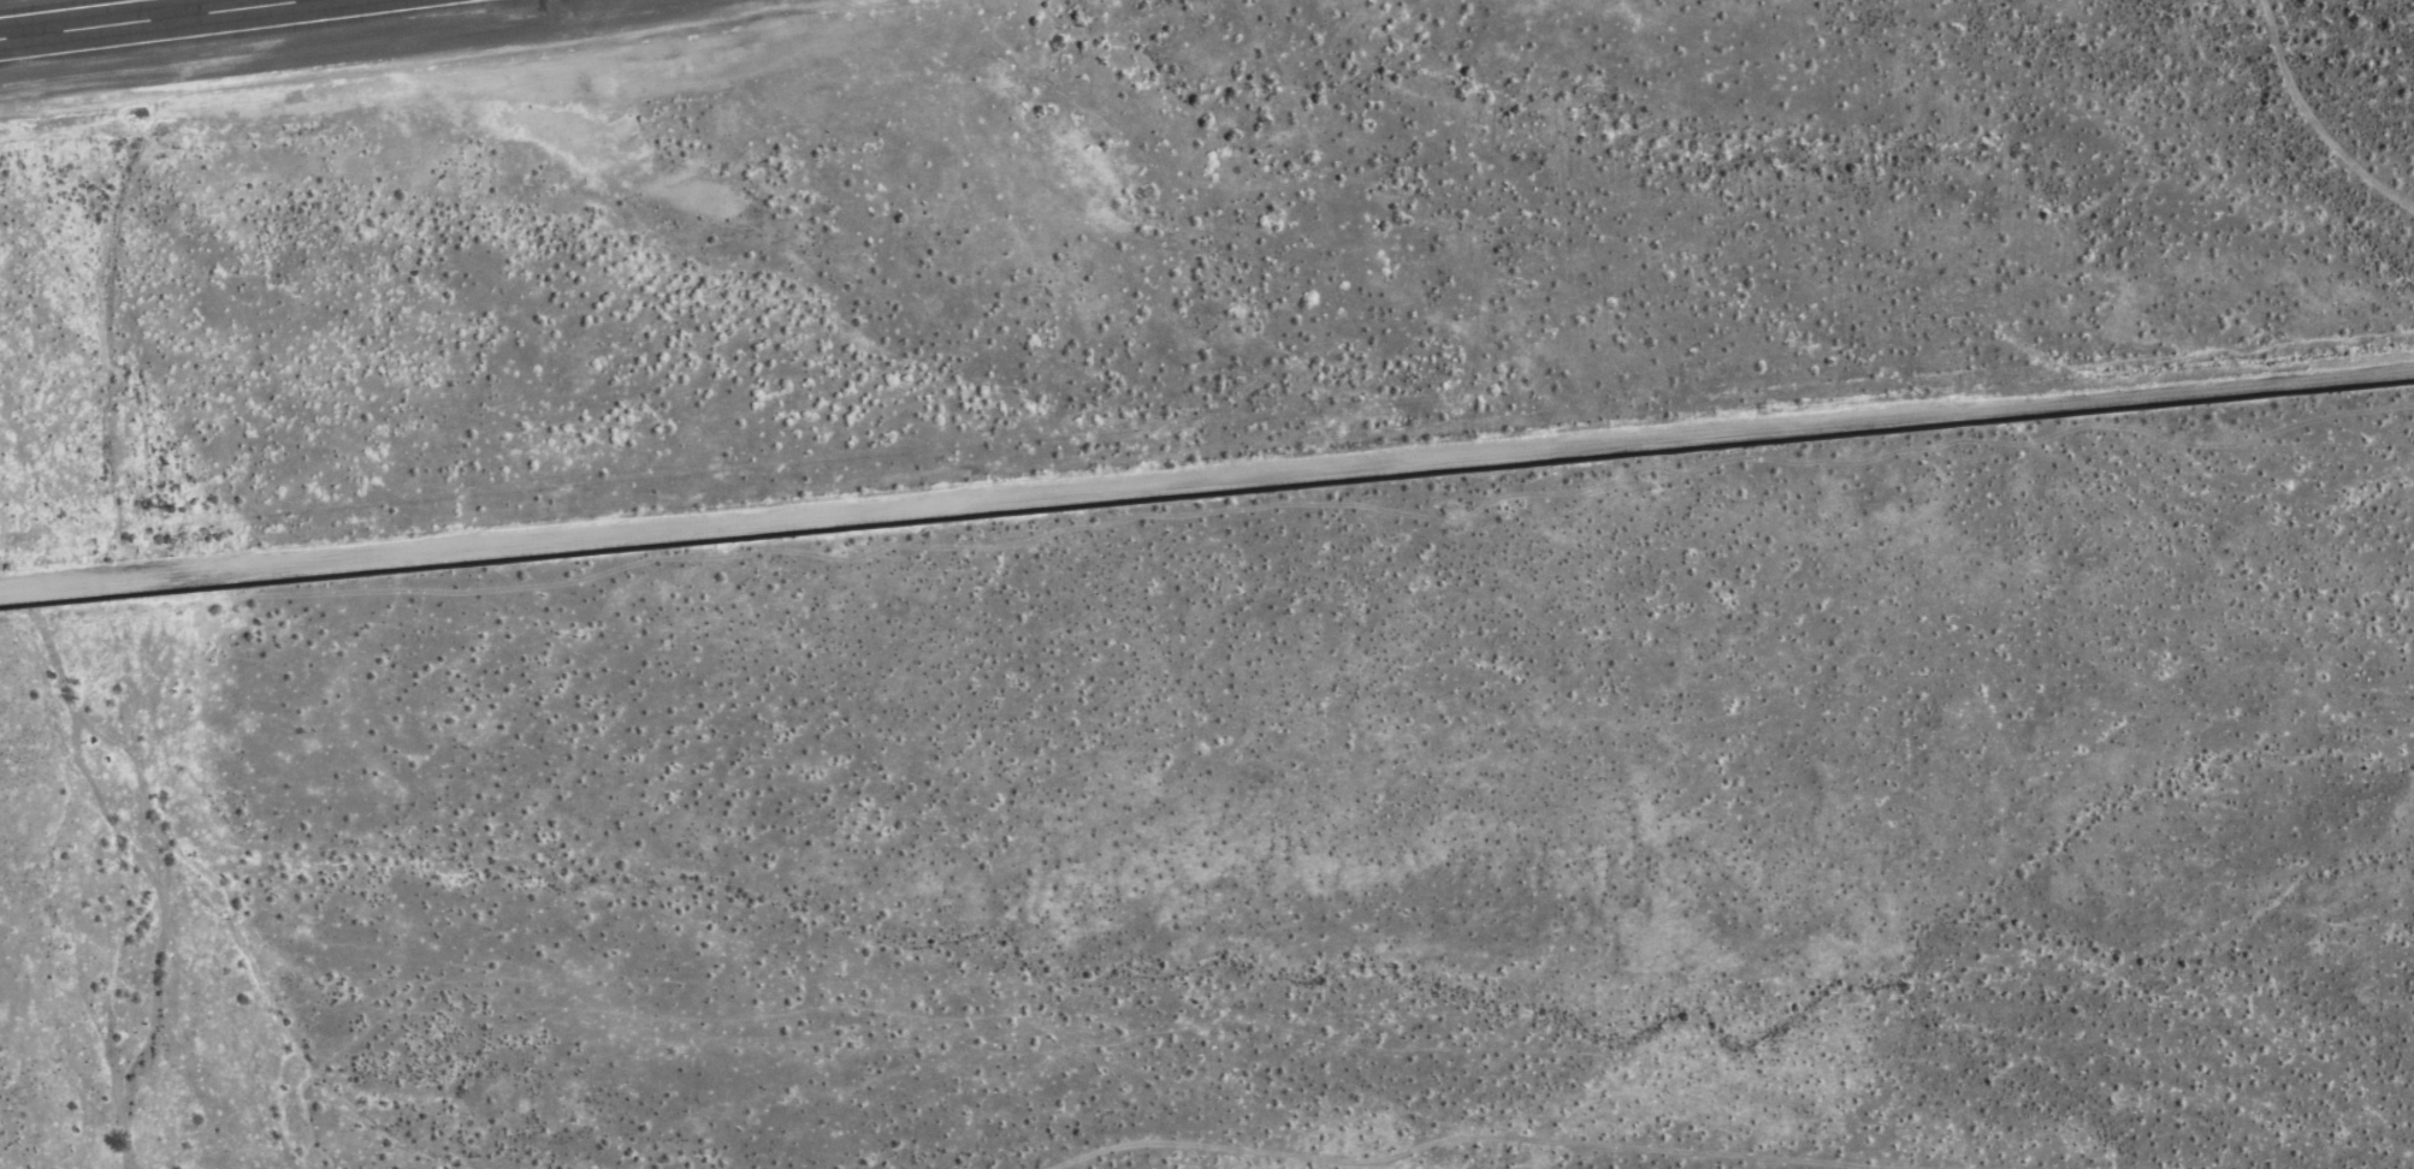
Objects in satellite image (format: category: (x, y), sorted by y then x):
airport runway: (153, 19)
airport: (682, 261)
road: (1207, 483)

